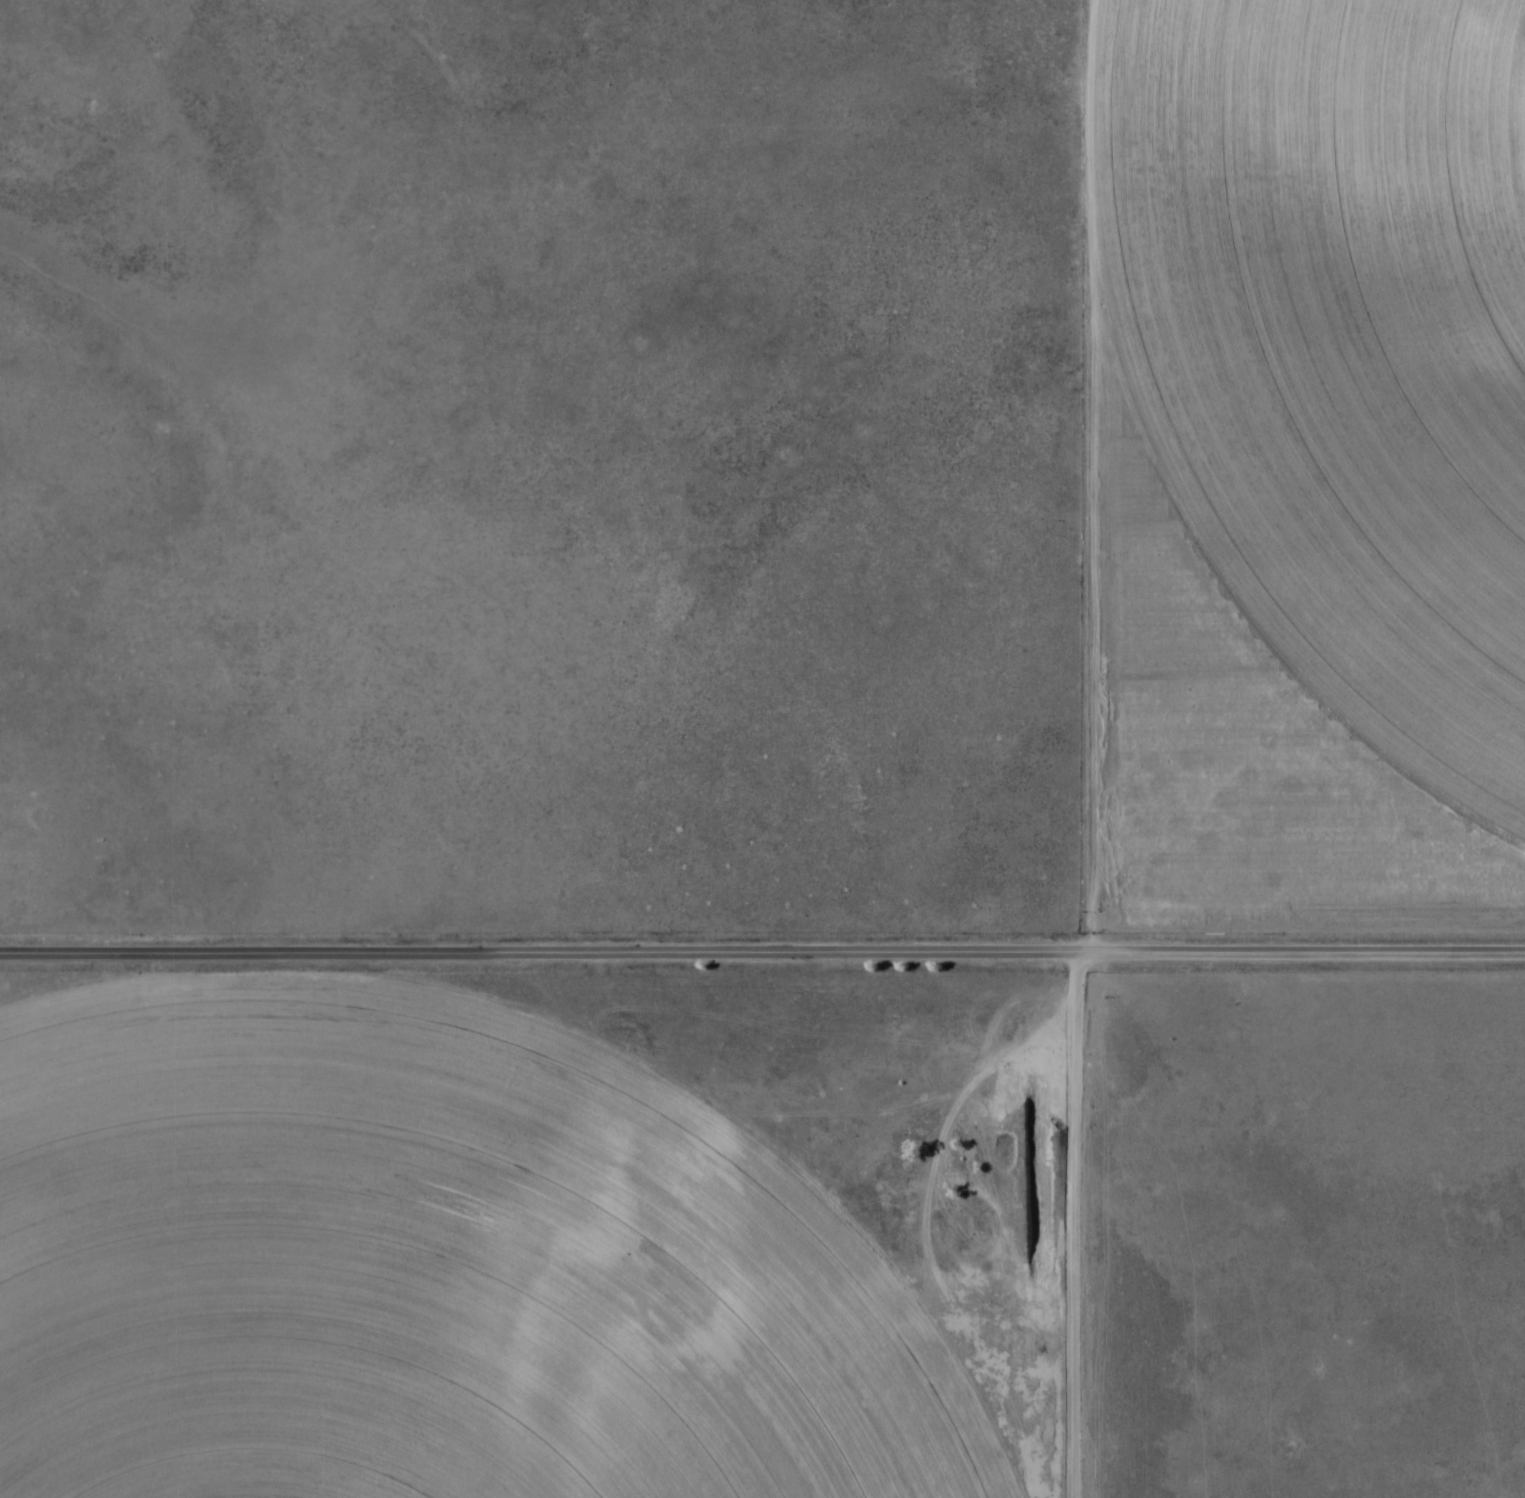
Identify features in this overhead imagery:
road: (1086, 476)
road: (762, 951)
road: (1079, 1225)

